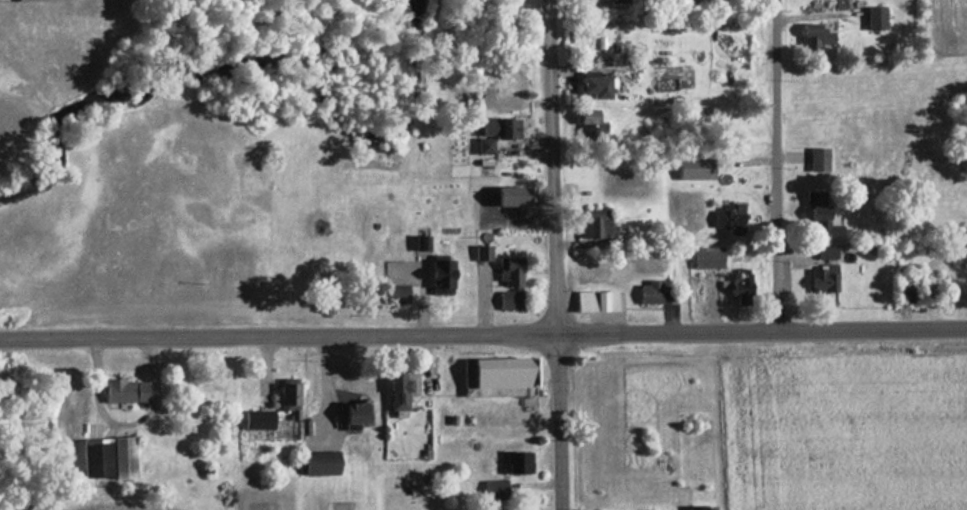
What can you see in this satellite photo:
building: (31, 0)
building: (607, 0)
building: (872, 18)
crop: (944, 25)
building: (811, 37)
building: (590, 88)
building: (584, 117)
building: (496, 129)
building: (480, 146)
building: (815, 160)
road: (778, 165)
building: (692, 170)
building: (507, 197)
building: (726, 216)
building: (817, 216)
building: (593, 222)
building: (479, 253)
building: (823, 253)
road: (557, 254)
building: (705, 258)
building: (506, 272)
building: (435, 276)
building: (819, 280)
building: (738, 290)
building: (648, 294)
building: (393, 296)
building: (505, 301)
building: (592, 302)
road: (483, 334)
building: (495, 377)
building: (397, 391)
building: (121, 392)
building: (285, 398)
building: (350, 416)
building: (254, 420)
crop: (844, 430)
building: (104, 459)
building: (514, 464)
building: (316, 465)
building: (491, 490)
crop: (94, 504)
building: (707, 509)

